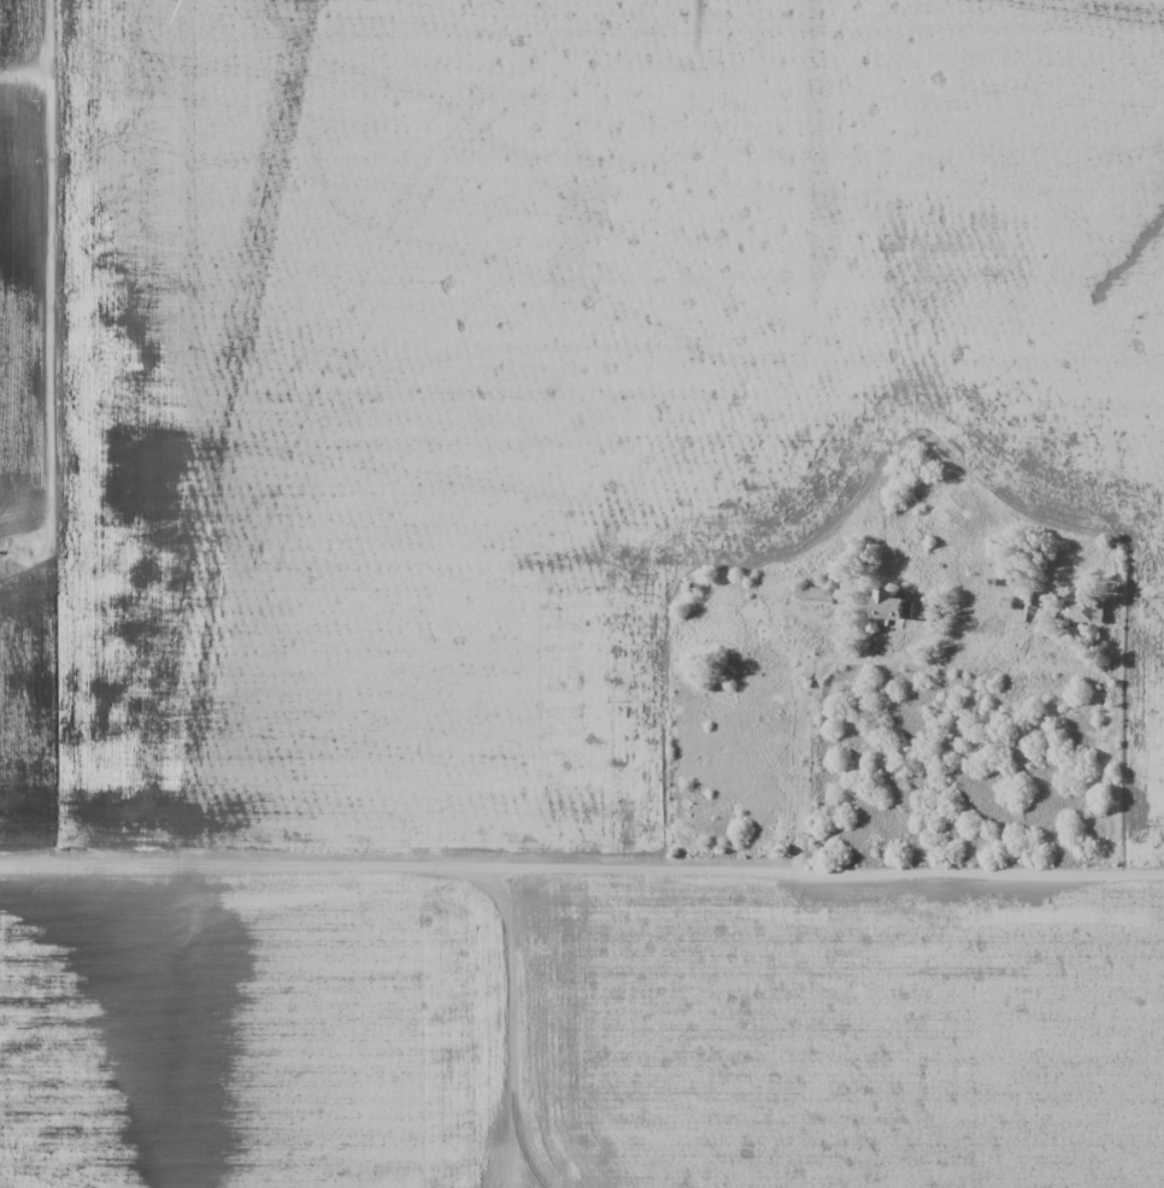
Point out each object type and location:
road: (60, 60)
road: (41, 301)
building: (813, 596)
building: (1083, 607)
building: (889, 608)
road: (850, 690)
road: (582, 881)

